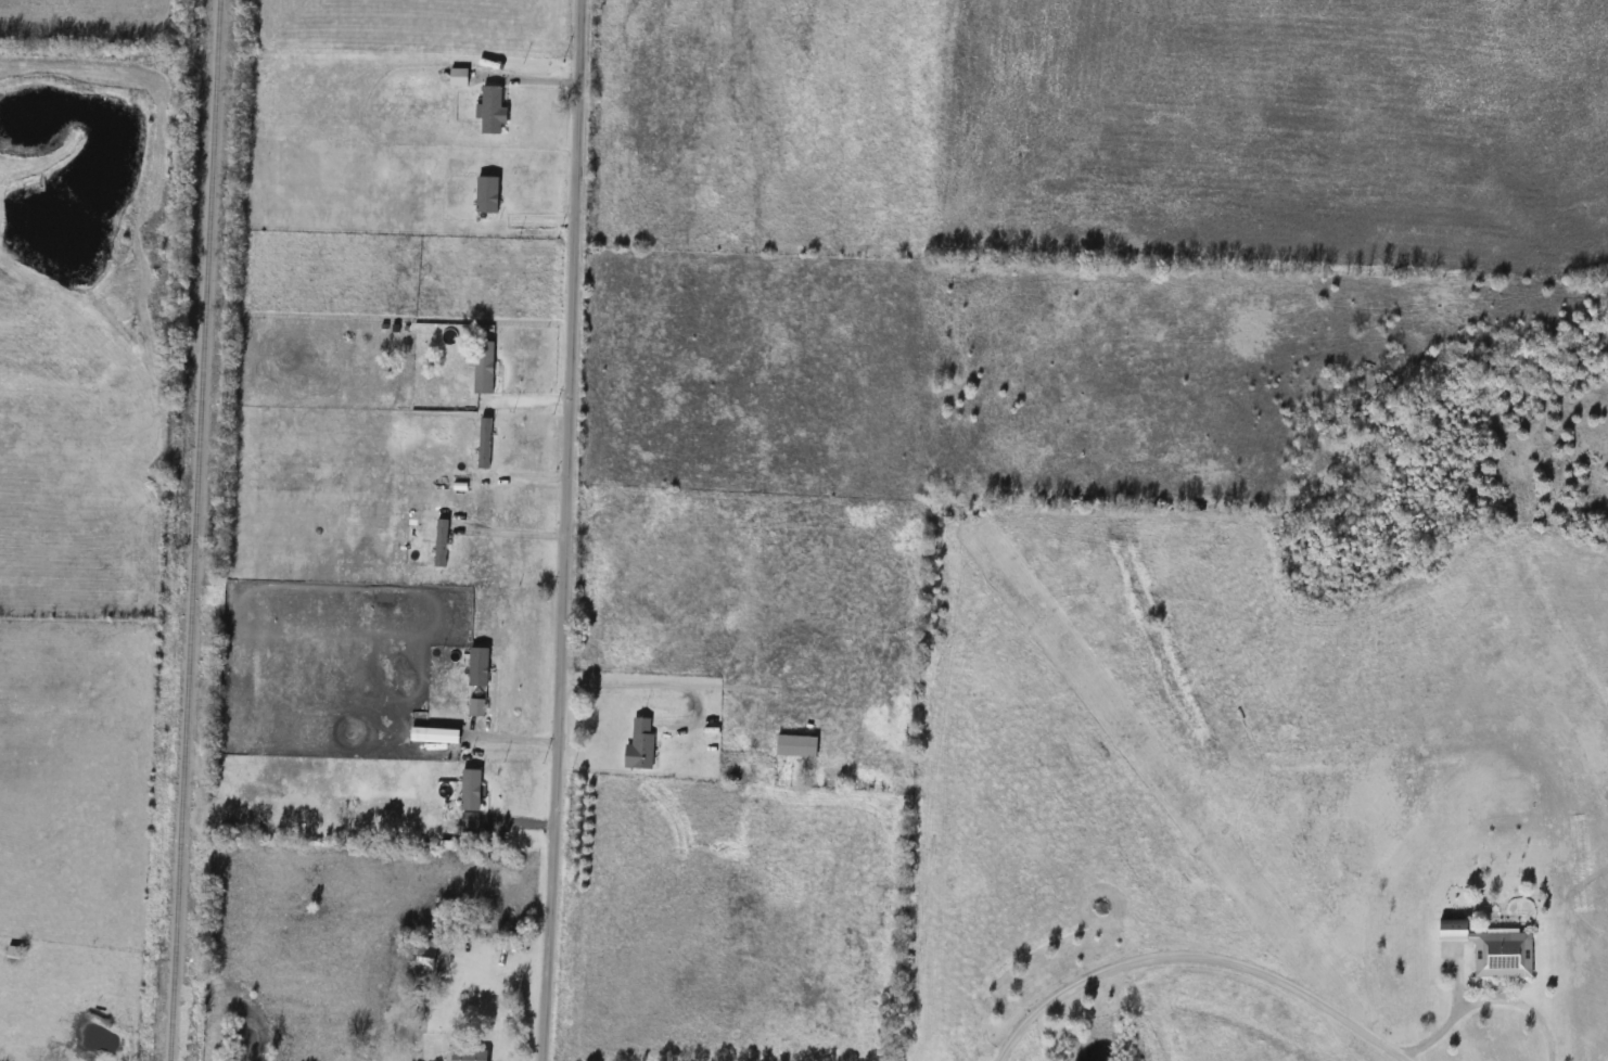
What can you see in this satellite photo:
road: (525, 76)
building: (494, 110)
building: (485, 367)
railway: (191, 529)
road: (511, 530)
road: (563, 530)
road: (652, 682)
building: (642, 745)
building: (797, 745)
building: (472, 798)
building: (1493, 949)
building: (15, 953)
road: (1192, 954)
building: (431, 957)
road: (1478, 999)
building: (469, 1056)

